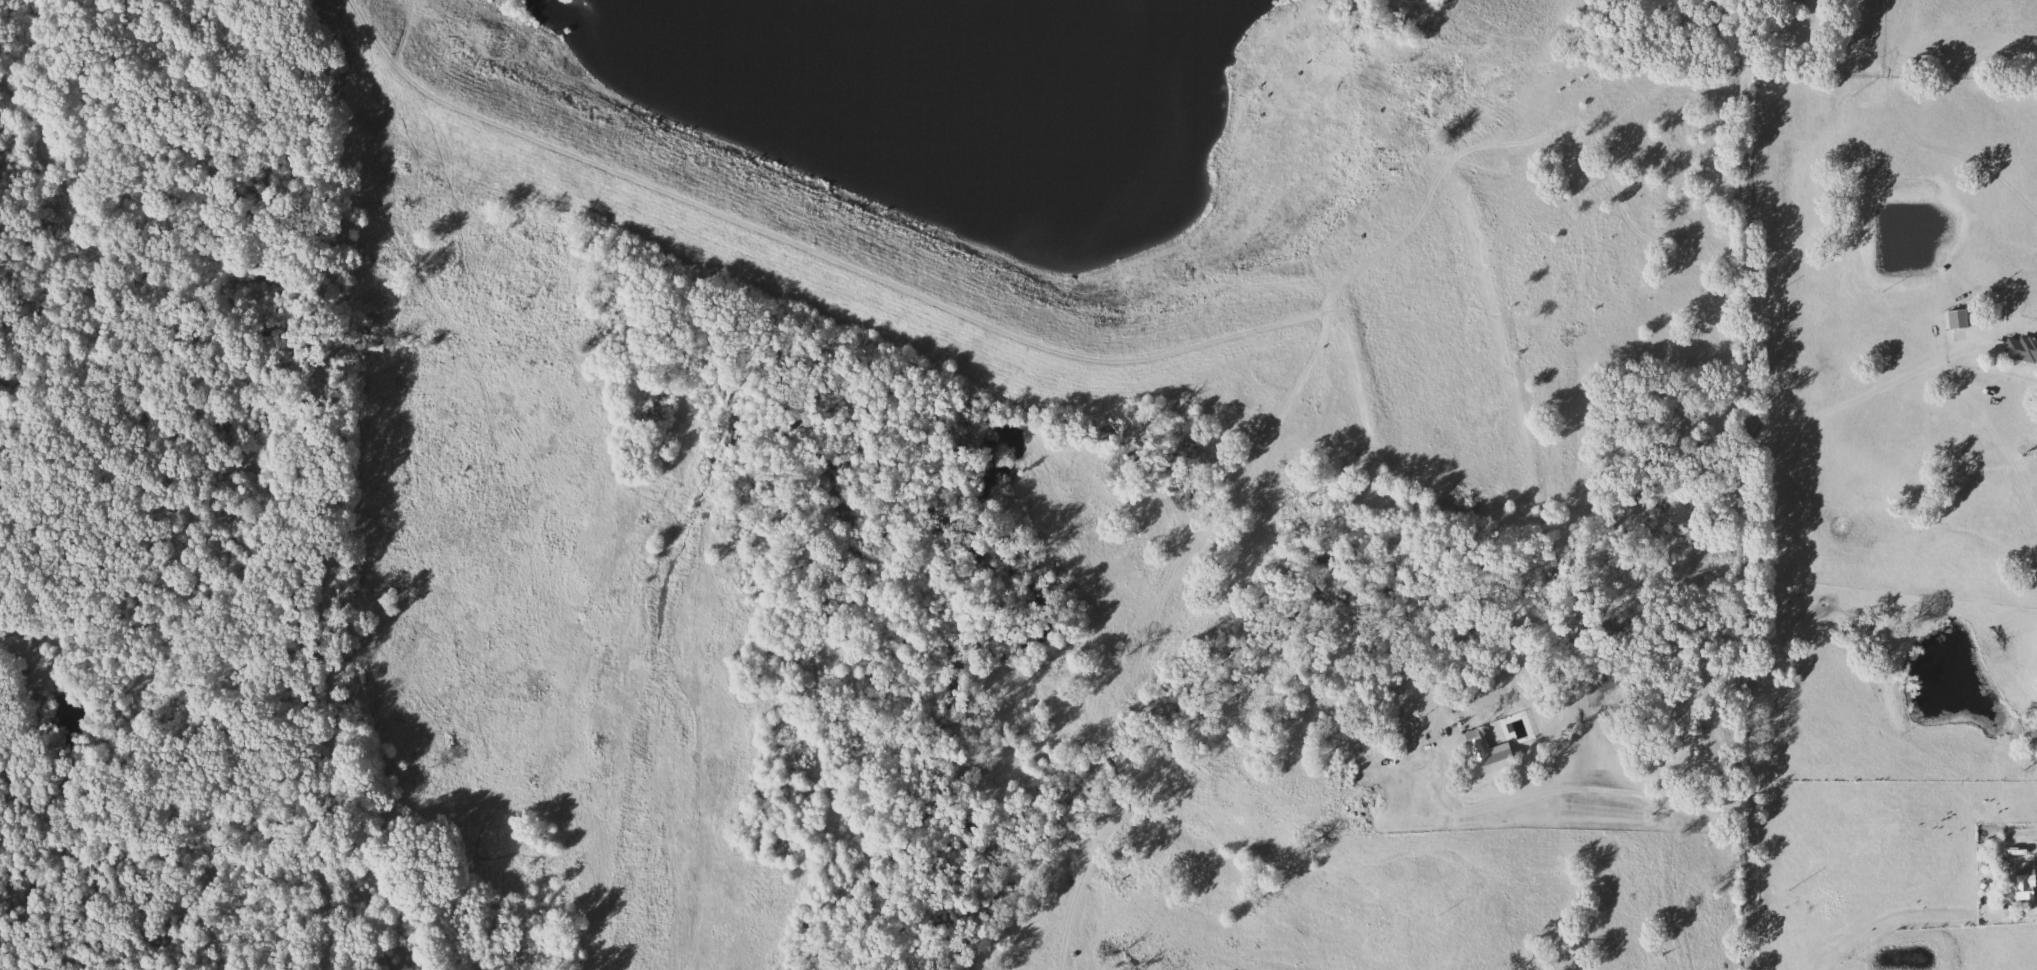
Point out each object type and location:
road: (1769, 41)
building: (1961, 319)
building: (2019, 348)
road: (1856, 397)
road: (1749, 522)
building: (1490, 755)
road: (1626, 801)
road: (1994, 854)
building: (2027, 883)

